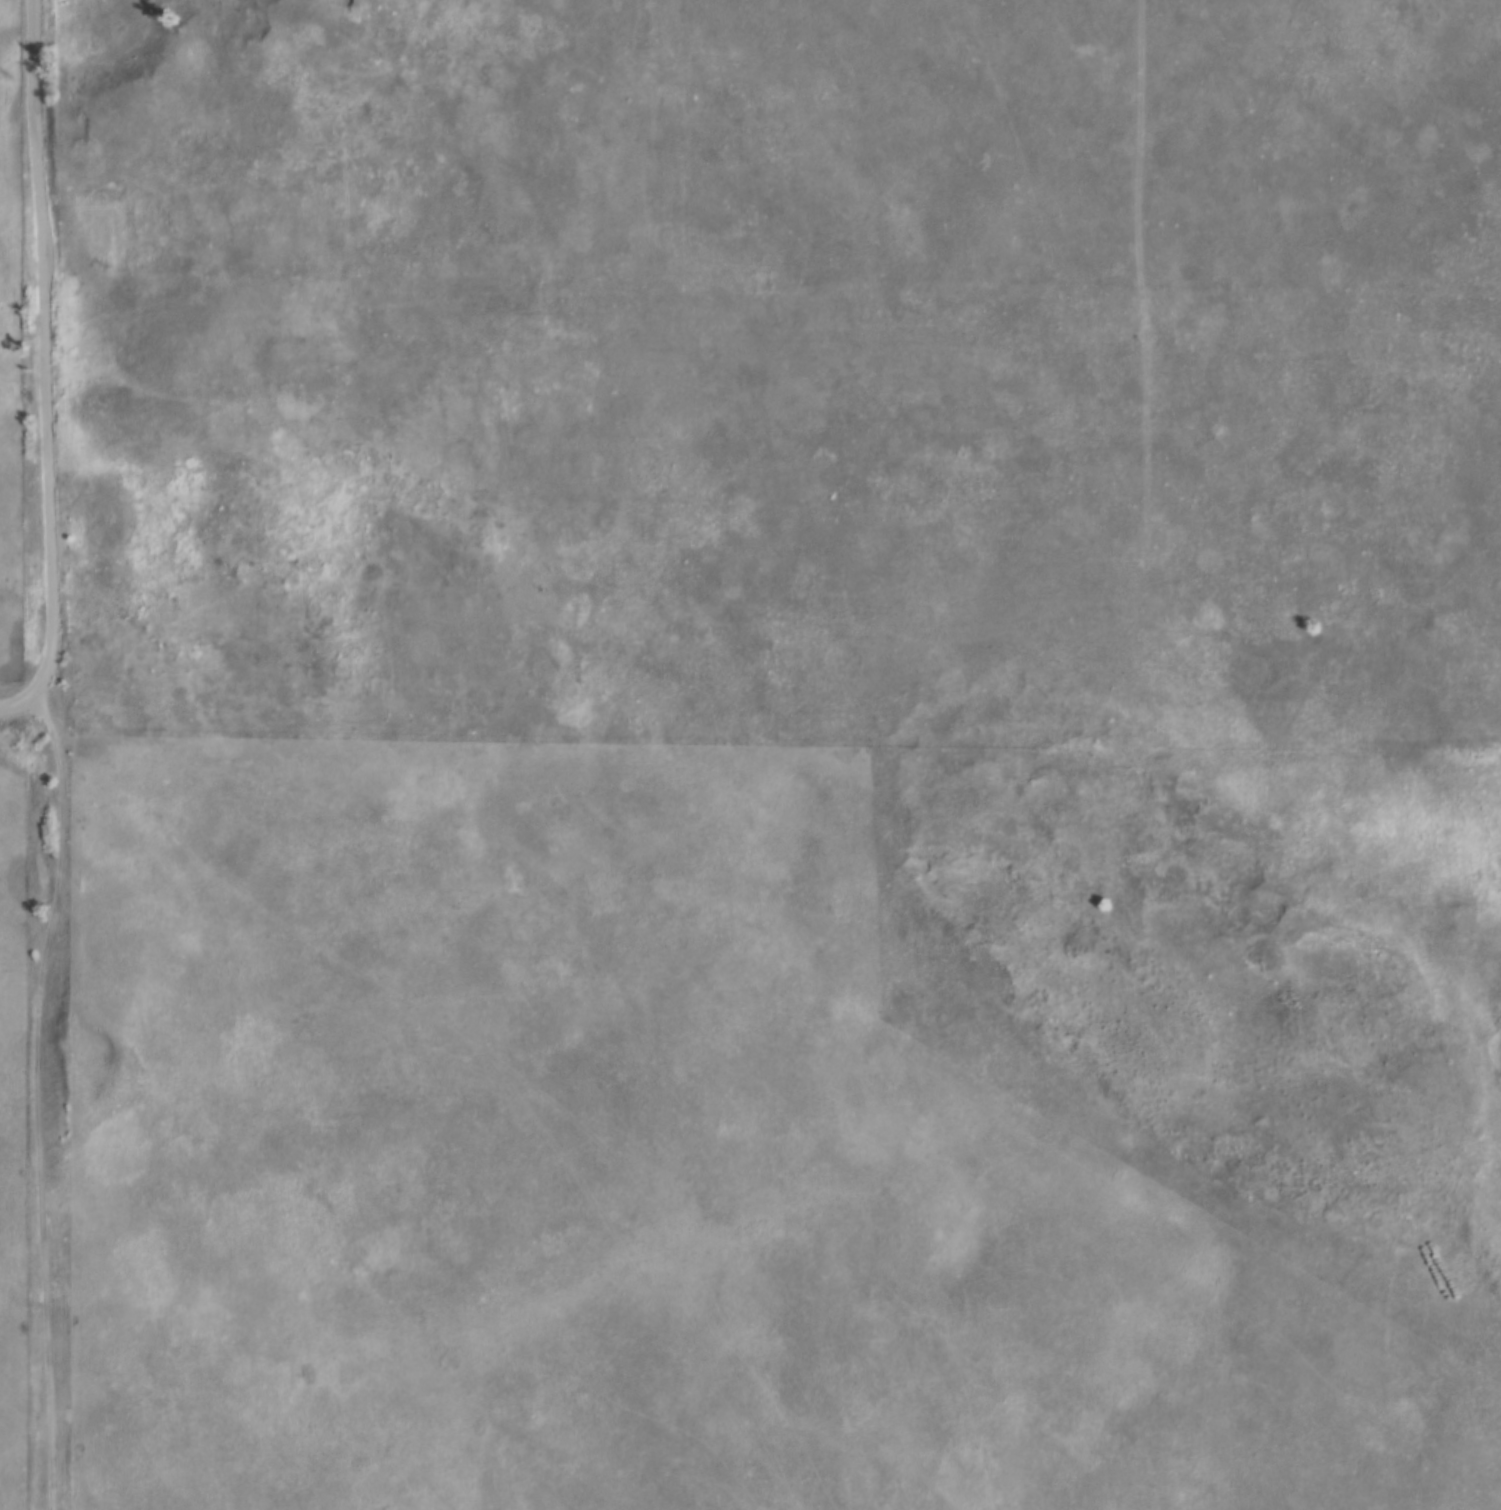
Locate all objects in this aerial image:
road: (46, 333)
road: (28, 691)
road: (36, 1087)

